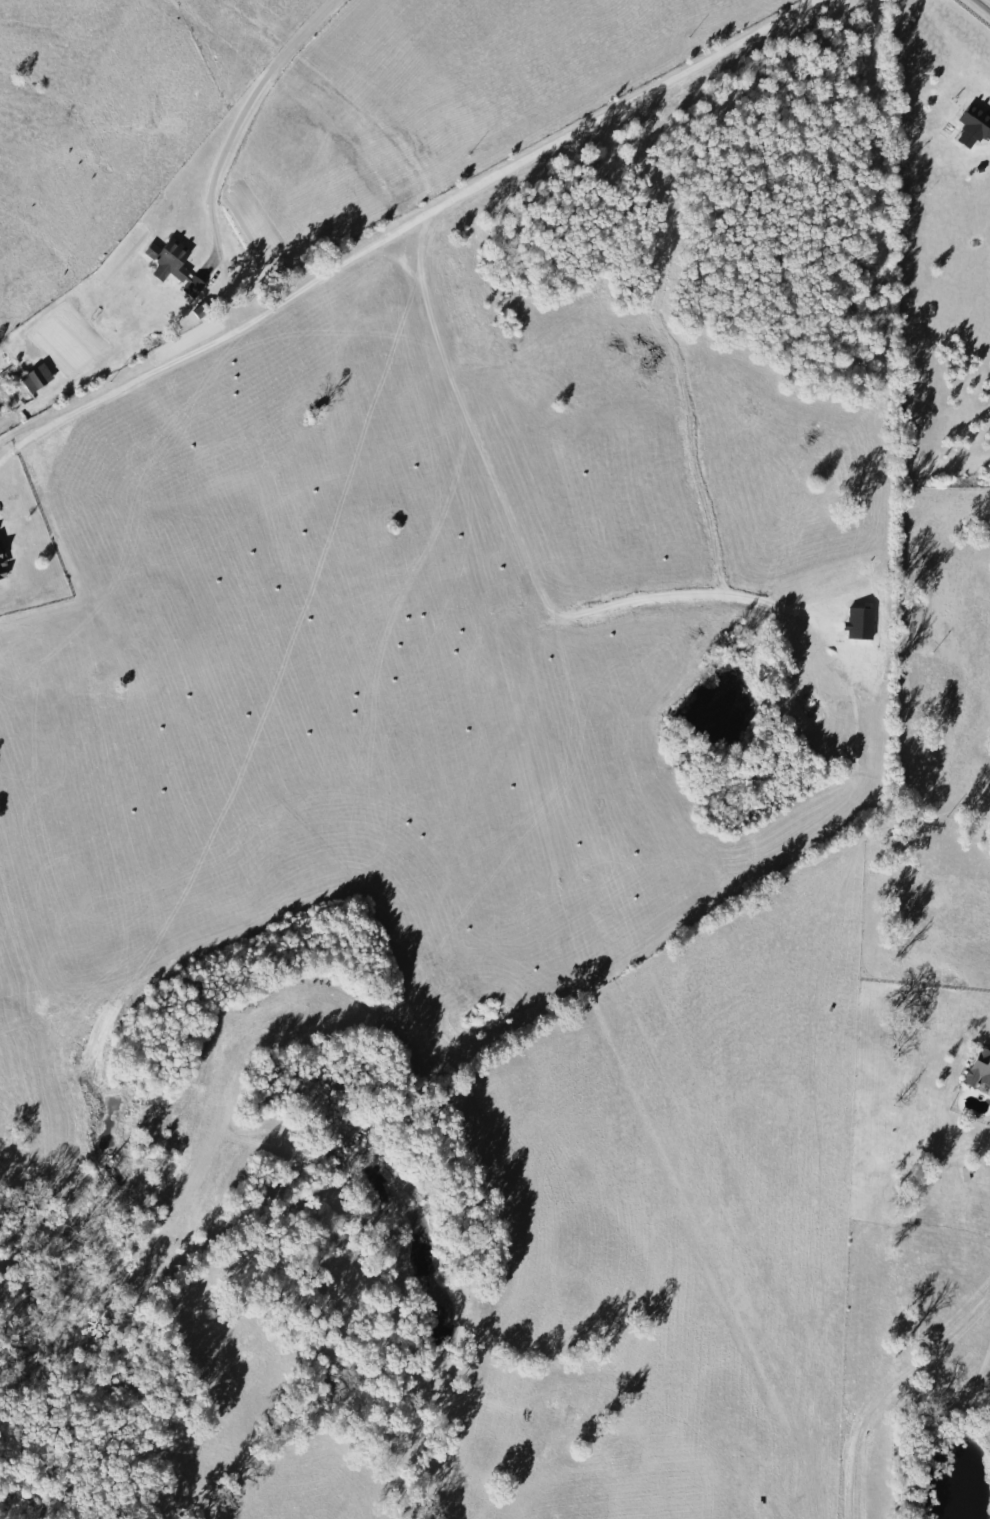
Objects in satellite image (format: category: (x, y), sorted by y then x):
road: (985, 3)
road: (244, 114)
building: (977, 125)
road: (403, 228)
building: (180, 265)
building: (42, 378)
building: (5, 563)
building: (982, 1068)

